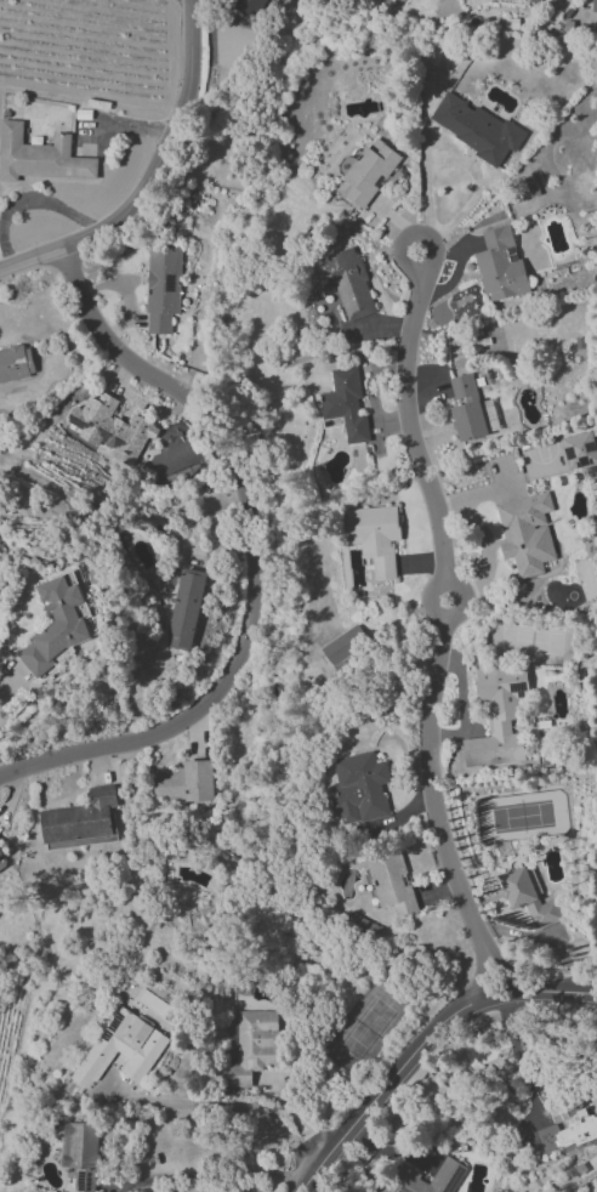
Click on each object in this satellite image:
building: (535, 1)
building: (252, 2)
building: (593, 5)
building: (477, 129)
building: (39, 155)
road: (428, 163)
building: (366, 171)
road: (153, 176)
road: (476, 188)
road: (25, 200)
building: (500, 265)
building: (345, 280)
building: (163, 286)
building: (15, 364)
road: (405, 367)
building: (346, 404)
building: (466, 408)
building: (110, 427)
building: (579, 449)
building: (525, 533)
building: (375, 537)
road: (252, 556)
building: (184, 608)
road: (459, 611)
building: (53, 625)
park: (530, 638)
building: (340, 651)
road: (8, 688)
building: (500, 710)
building: (184, 782)
building: (358, 788)
road: (436, 811)
park: (522, 817)
building: (80, 821)
building: (2, 861)
building: (391, 881)
building: (528, 896)
park: (364, 1028)
building: (252, 1045)
road: (422, 1046)
building: (121, 1048)
road: (518, 1056)
road: (233, 1105)
building: (568, 1133)
building: (80, 1153)
road: (210, 1176)
building: (431, 1179)

